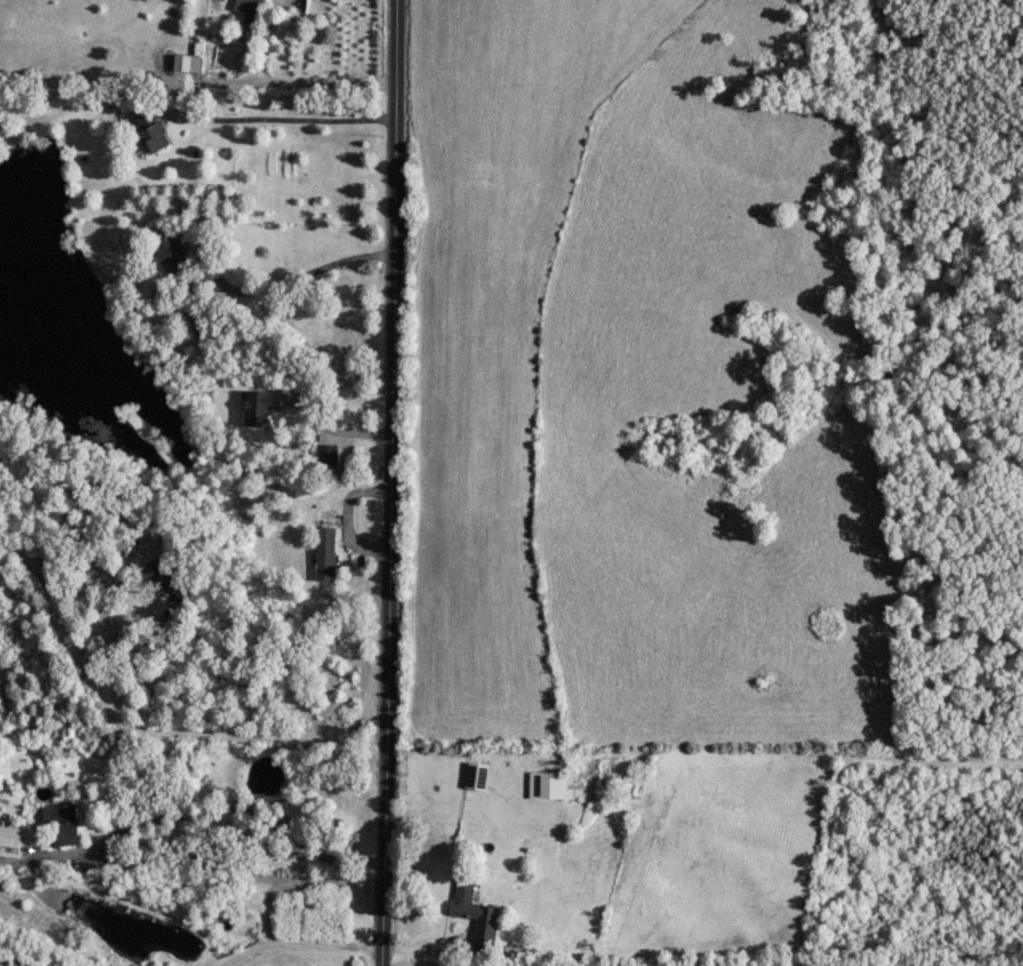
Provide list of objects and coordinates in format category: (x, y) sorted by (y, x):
building: (245, 12)
road: (282, 82)
road: (267, 119)
building: (147, 129)
building: (168, 251)
road: (294, 278)
building: (256, 405)
road: (331, 430)
building: (323, 453)
road: (388, 483)
building: (322, 552)
building: (161, 580)
road: (139, 650)
road: (143, 727)
building: (473, 773)
building: (549, 782)
road: (193, 815)
building: (59, 820)
building: (471, 909)
road: (293, 941)

